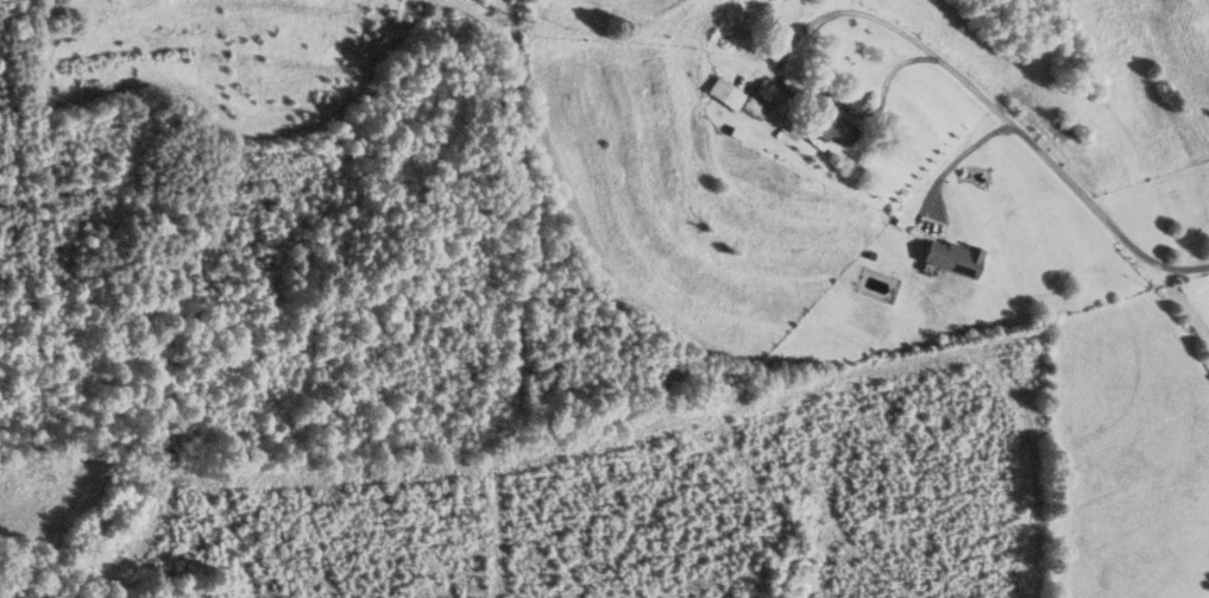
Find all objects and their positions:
road: (886, 80)
road: (966, 81)
building: (726, 92)
building: (755, 107)
building: (838, 126)
road: (962, 156)
building: (953, 257)
road: (1177, 264)

